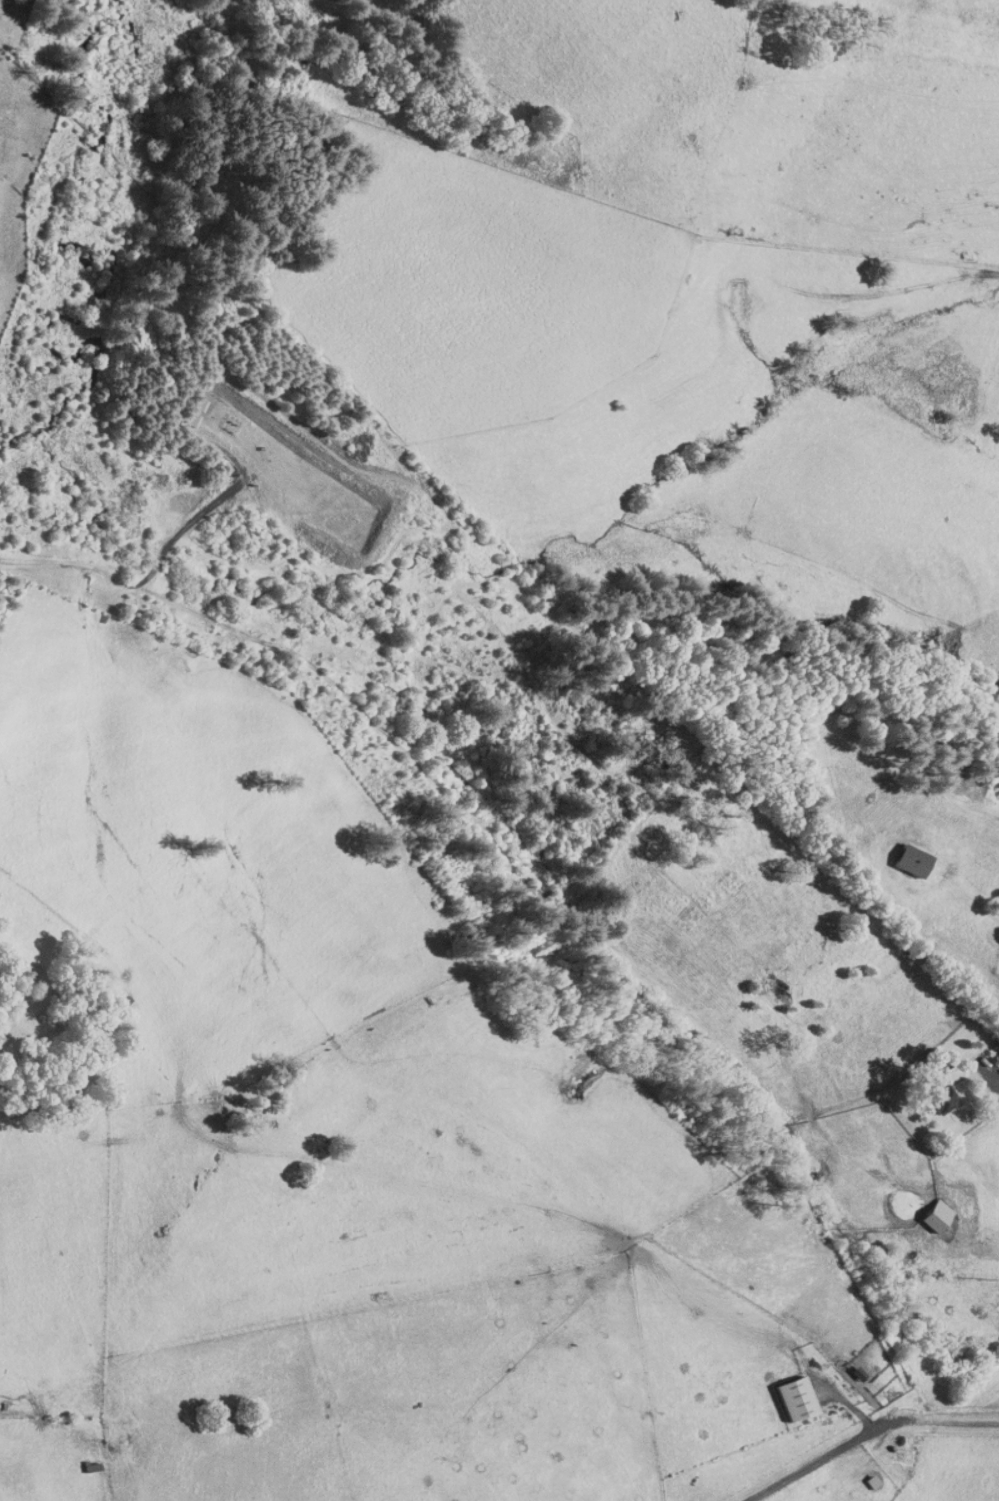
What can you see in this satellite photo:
road: (990, 1075)

